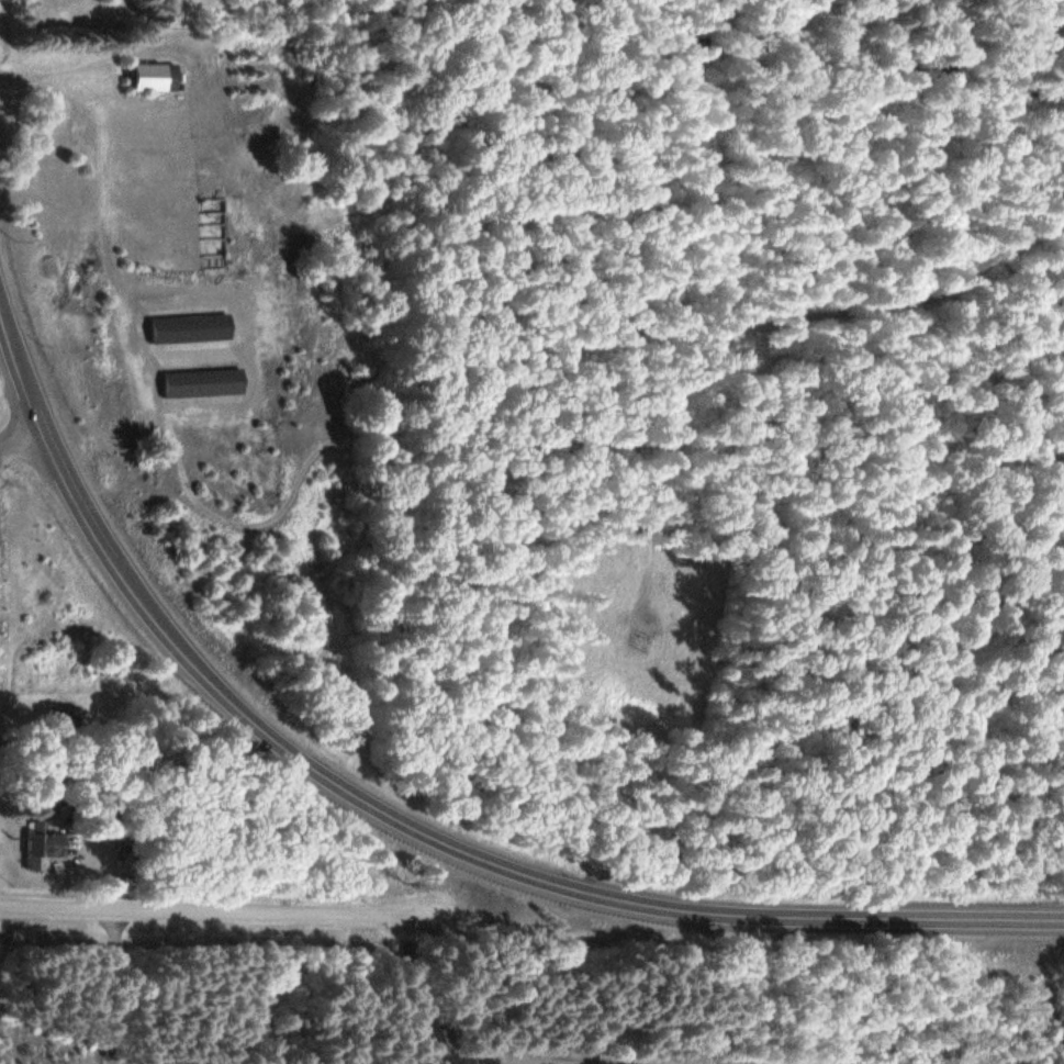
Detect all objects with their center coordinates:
building: (149, 79)
building: (212, 234)
building: (187, 329)
building: (199, 384)
road: (20, 440)
road: (404, 820)
building: (46, 845)
road: (221, 912)
road: (114, 989)
road: (440, 1035)
road: (98, 1057)

